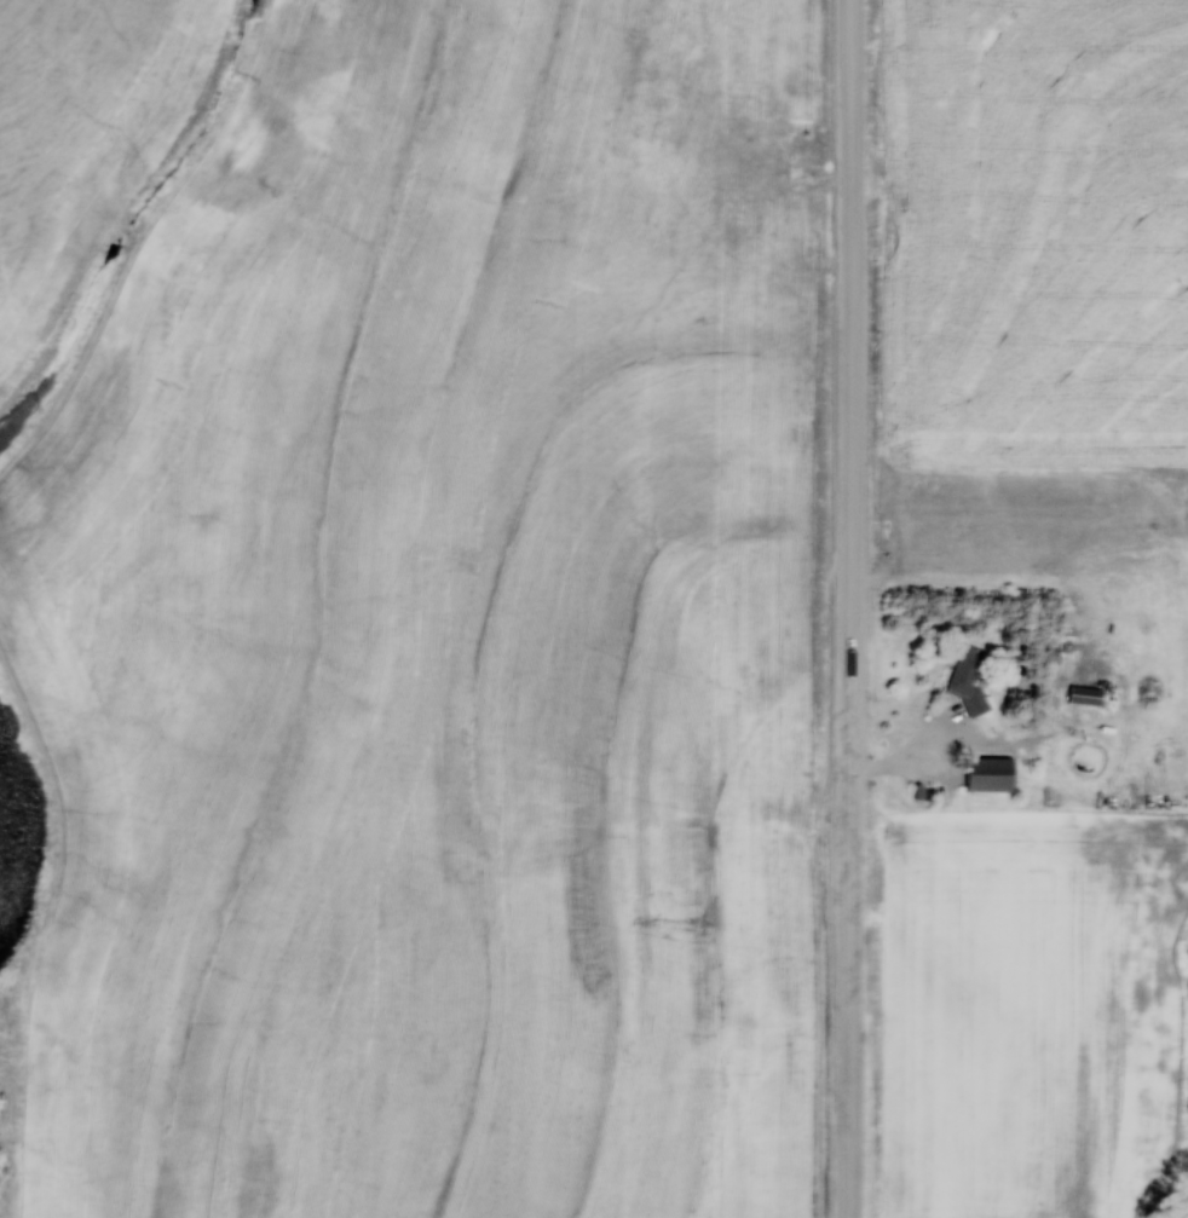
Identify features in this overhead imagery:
building: (760, 115)
building: (791, 221)
road: (852, 608)
building: (968, 676)
building: (1086, 695)
road: (919, 768)
building: (990, 775)

